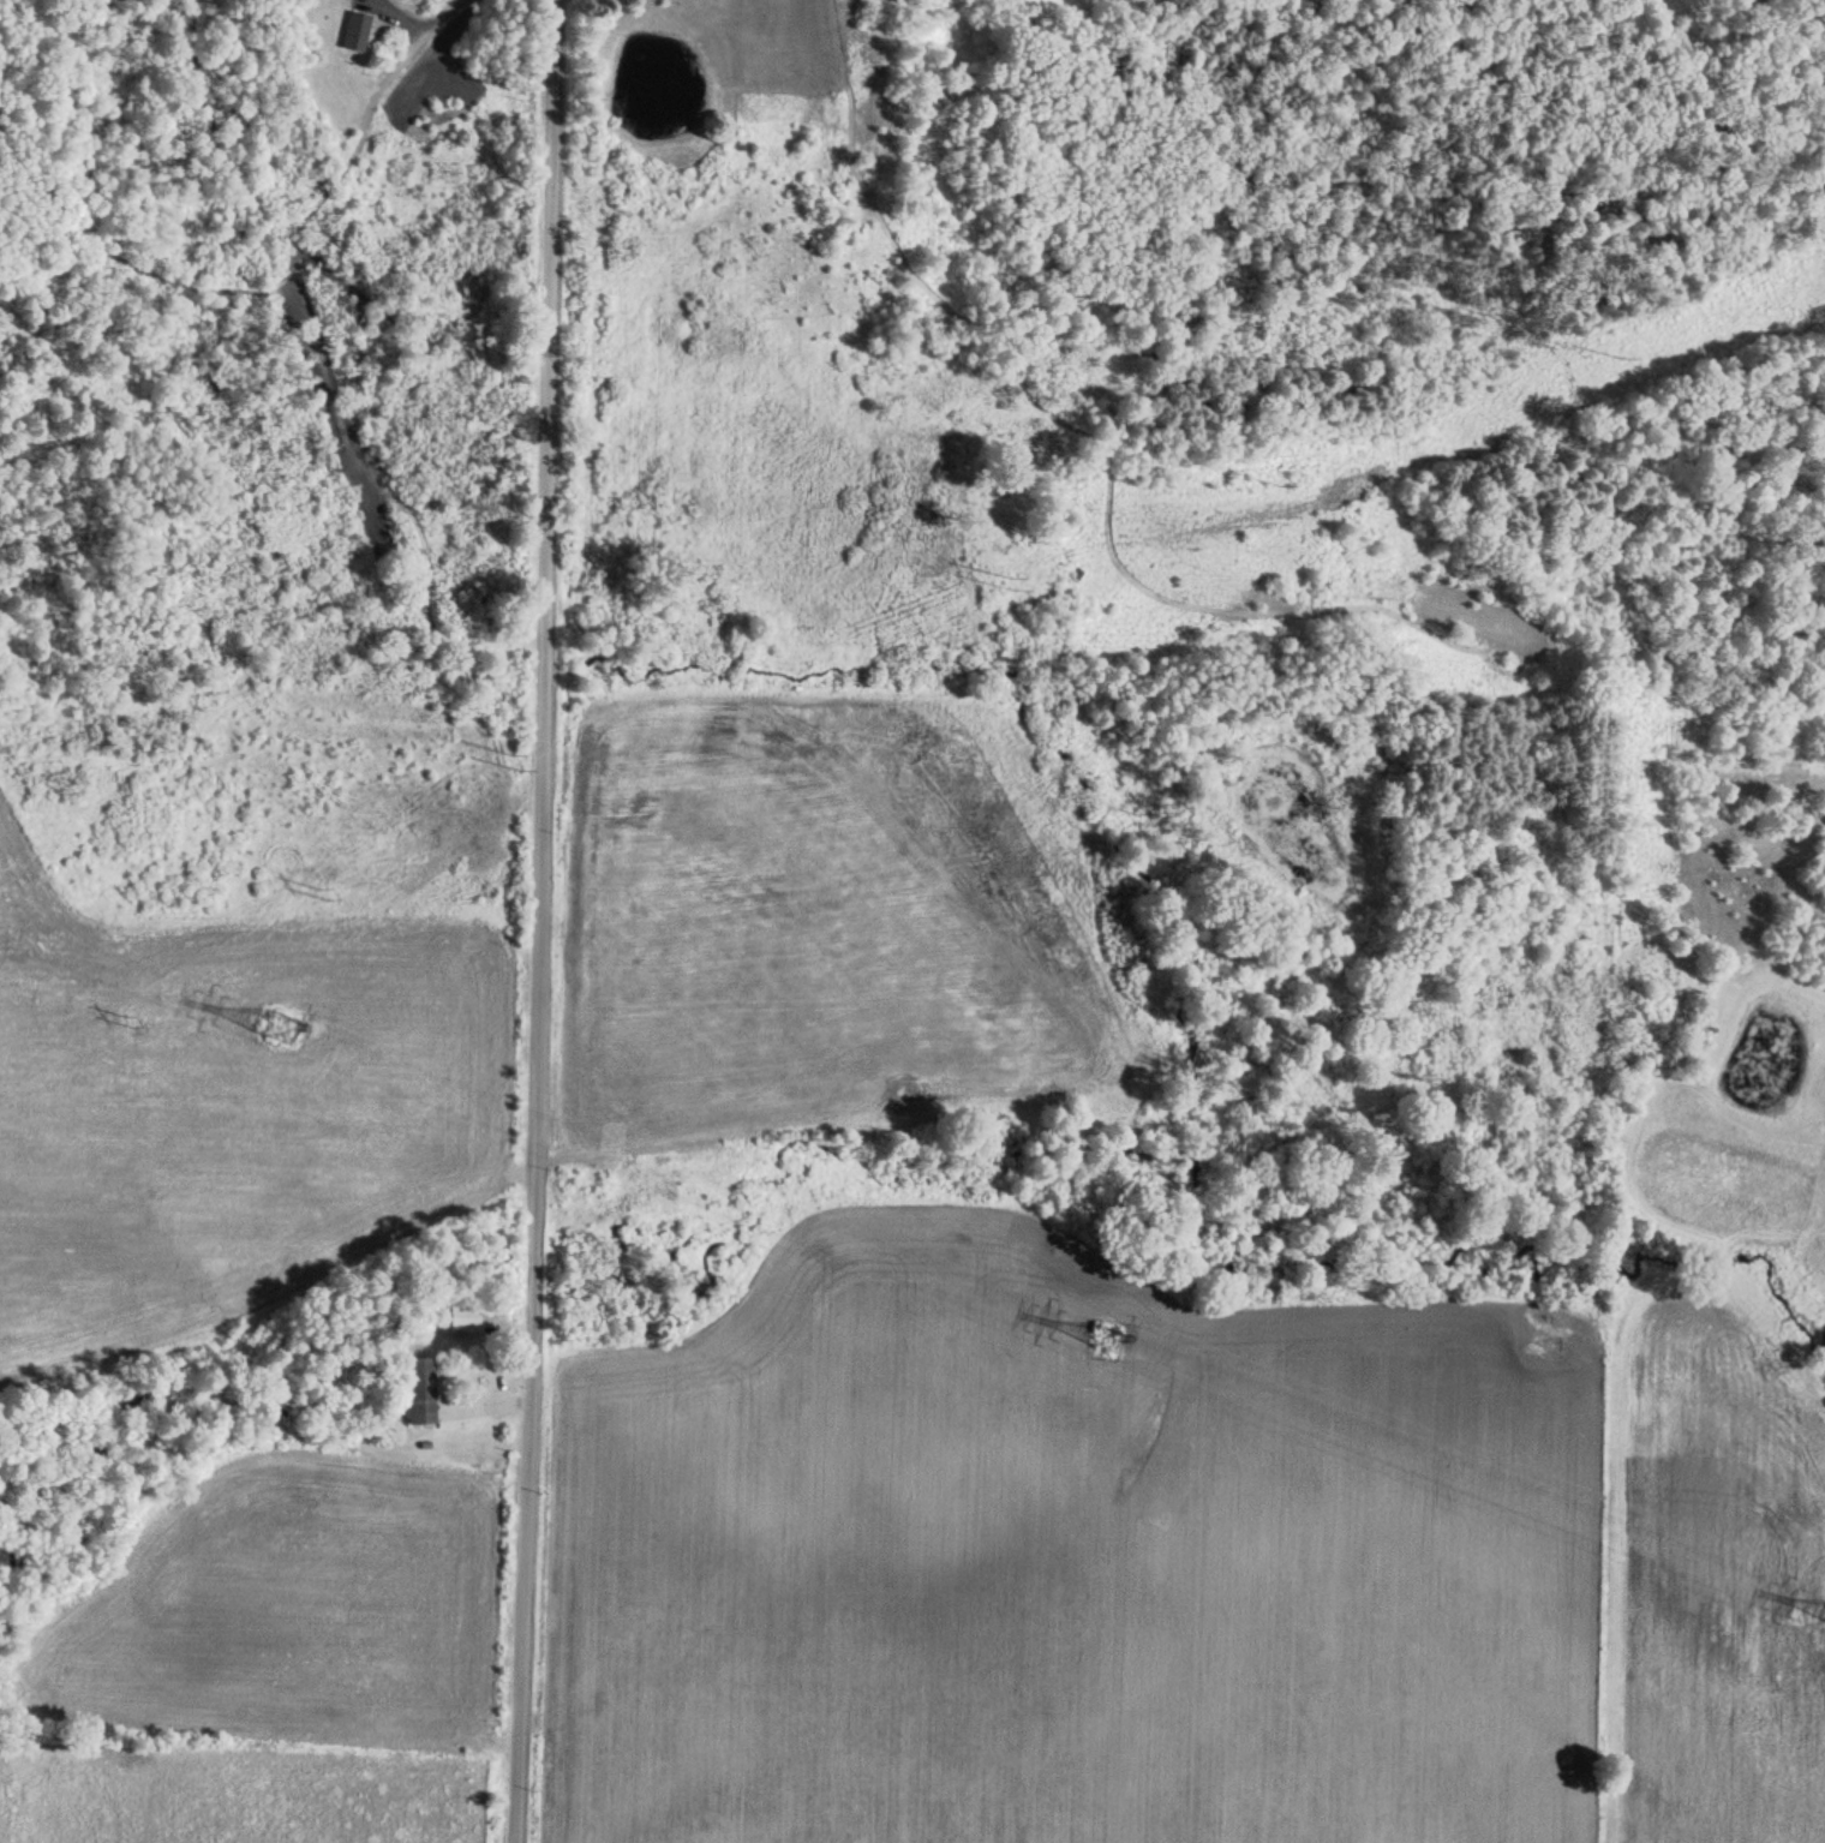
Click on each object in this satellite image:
road: (522, 921)
power tower: (276, 1027)
building: (463, 1318)
power tower: (1102, 1334)
building: (417, 1393)

